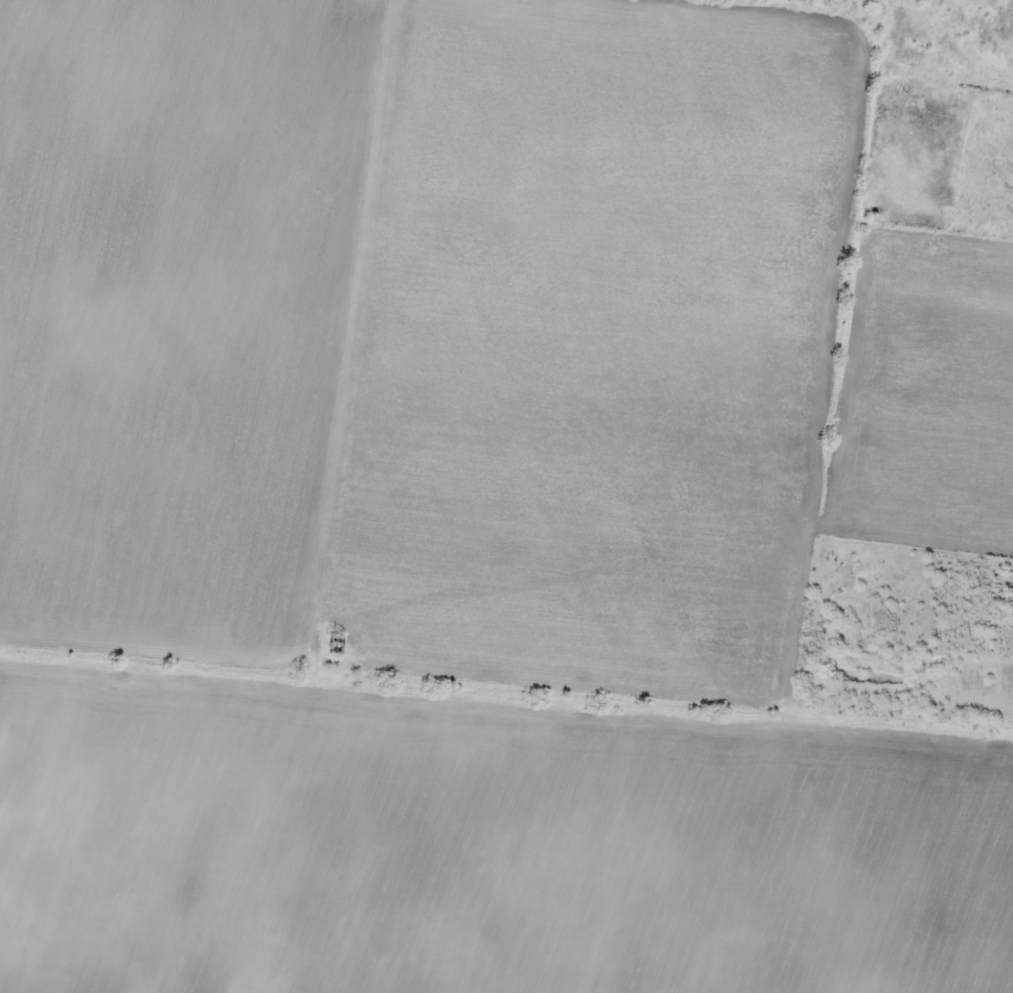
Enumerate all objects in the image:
building: (335, 642)
building: (775, 777)
building: (434, 797)
building: (1003, 833)
building: (15, 852)
building: (738, 873)
building: (136, 877)
building: (763, 891)
building: (603, 893)

